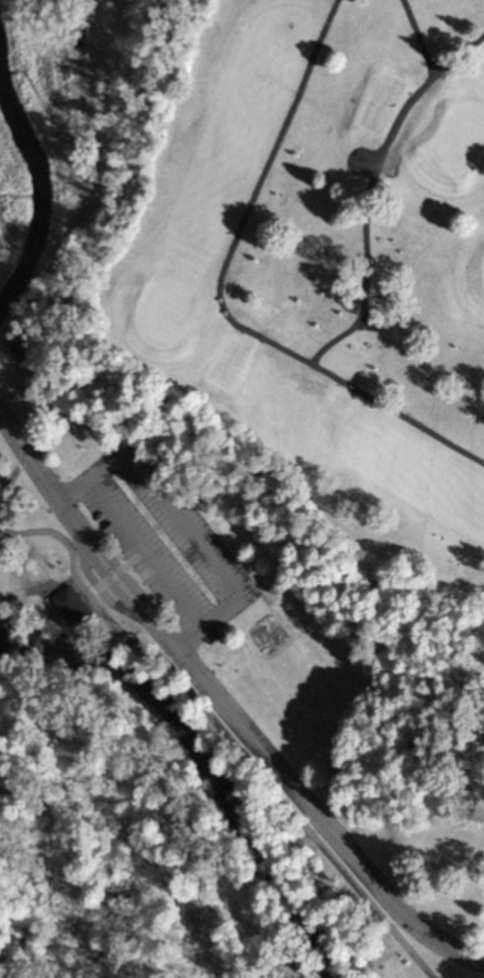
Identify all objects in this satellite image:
road: (420, 42)
road: (368, 190)
park: (321, 268)
road: (42, 272)
road: (217, 296)
building: (367, 321)
building: (13, 348)
road: (43, 401)
road: (15, 477)
road: (178, 524)
parking lot: (161, 540)
road: (145, 554)
road: (101, 595)
building: (70, 605)
park: (193, 623)
road: (223, 703)
road: (222, 731)
road: (145, 803)
road: (338, 890)
road: (300, 915)
road: (249, 949)
road: (286, 955)

